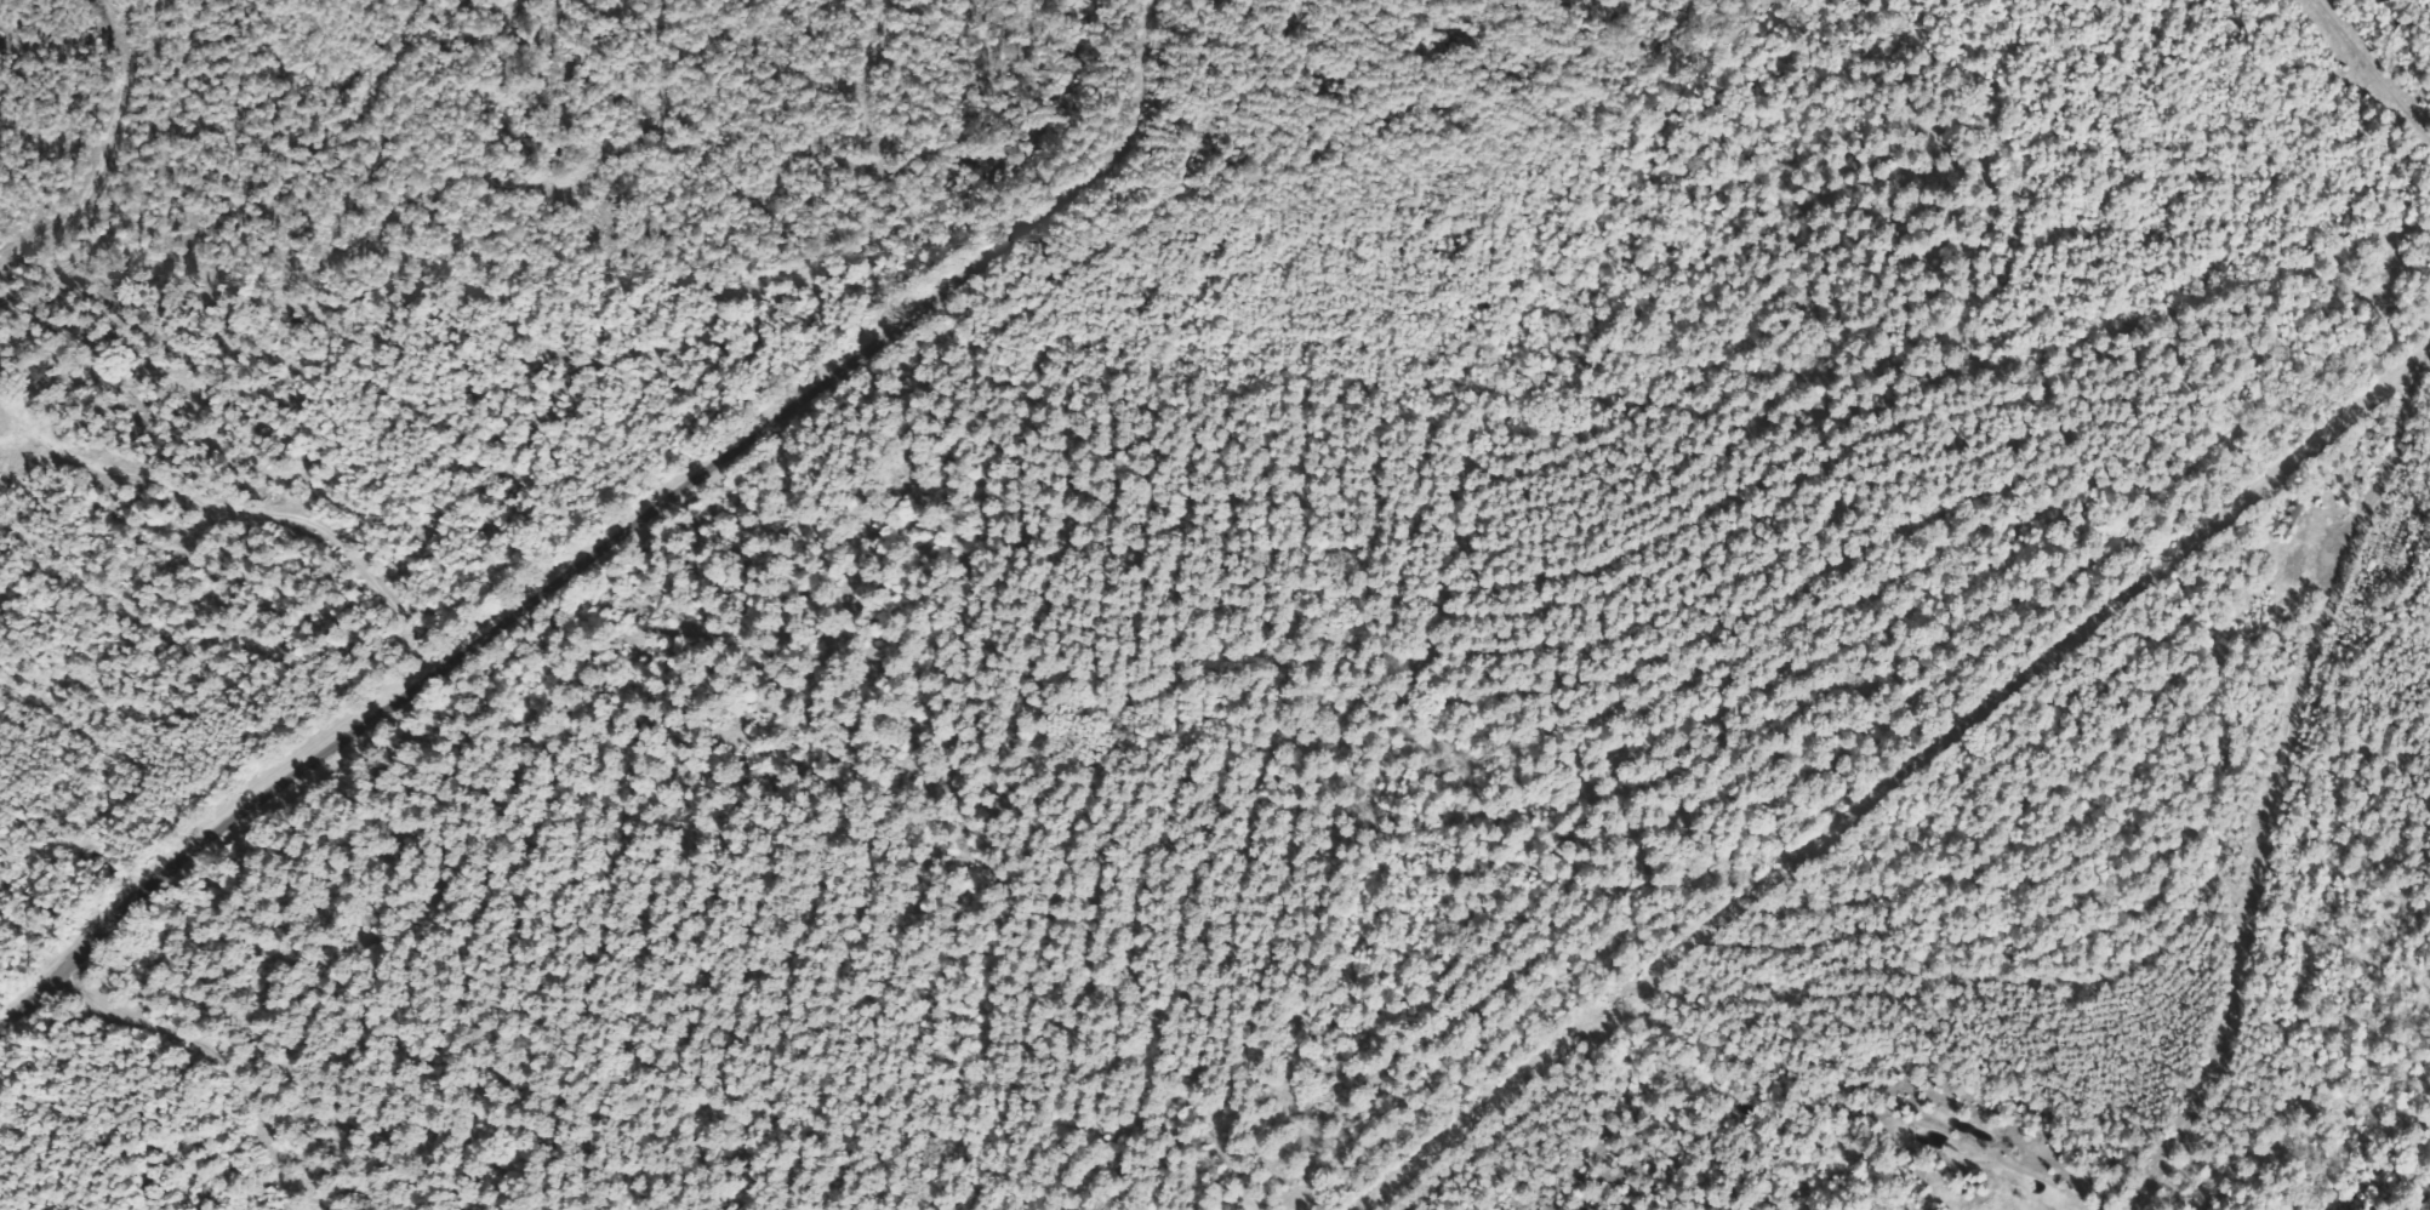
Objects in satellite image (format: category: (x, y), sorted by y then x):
road: (1113, 165)
road: (1711, 349)
road: (479, 640)

